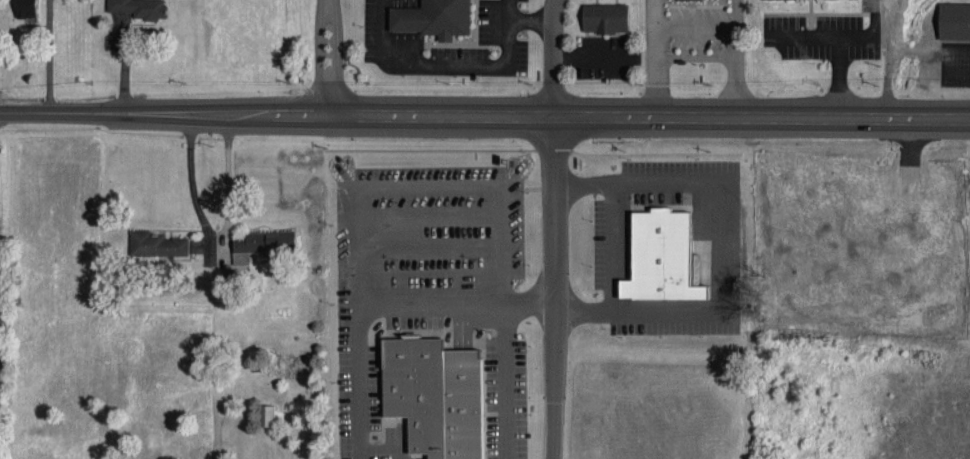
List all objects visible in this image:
building: (25, 7)
building: (139, 7)
building: (605, 16)
building: (432, 17)
building: (954, 19)
road: (338, 55)
road: (319, 56)
road: (552, 57)
road: (137, 114)
road: (308, 114)
road: (446, 115)
road: (761, 115)
building: (264, 241)
building: (156, 243)
building: (241, 256)
building: (661, 256)
road: (549, 287)
building: (434, 398)
building: (266, 413)

